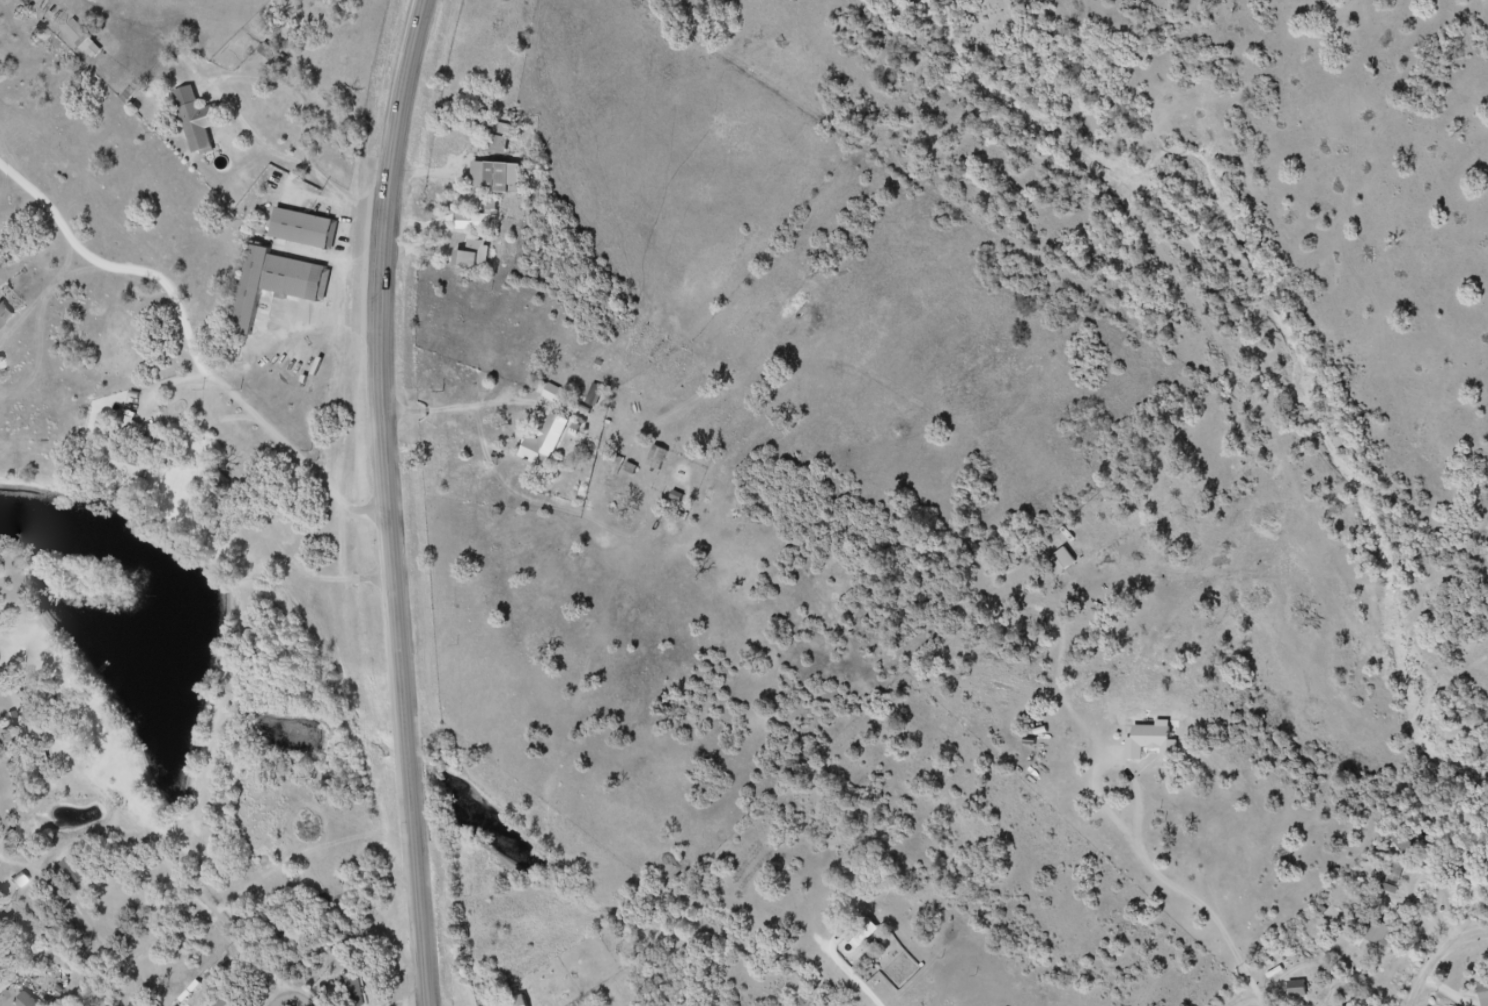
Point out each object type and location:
building: (82, 40)
building: (206, 128)
building: (499, 140)
building: (495, 178)
building: (487, 217)
building: (309, 237)
building: (472, 258)
building: (276, 285)
building: (5, 315)
road: (223, 383)
building: (553, 394)
building: (595, 396)
building: (544, 442)
building: (140, 458)
building: (657, 459)
road: (395, 501)
building: (1069, 562)
building: (1161, 750)
road: (1143, 791)
road: (1107, 807)
building: (1408, 842)
building: (1396, 886)
building: (861, 932)
building: (297, 937)
building: (1389, 939)
road: (1443, 959)
building: (3, 986)
road: (1262, 990)
building: (1305, 991)
building: (362, 994)
building: (1487, 995)
road: (290, 998)
building: (25, 1001)
building: (35, 1002)

